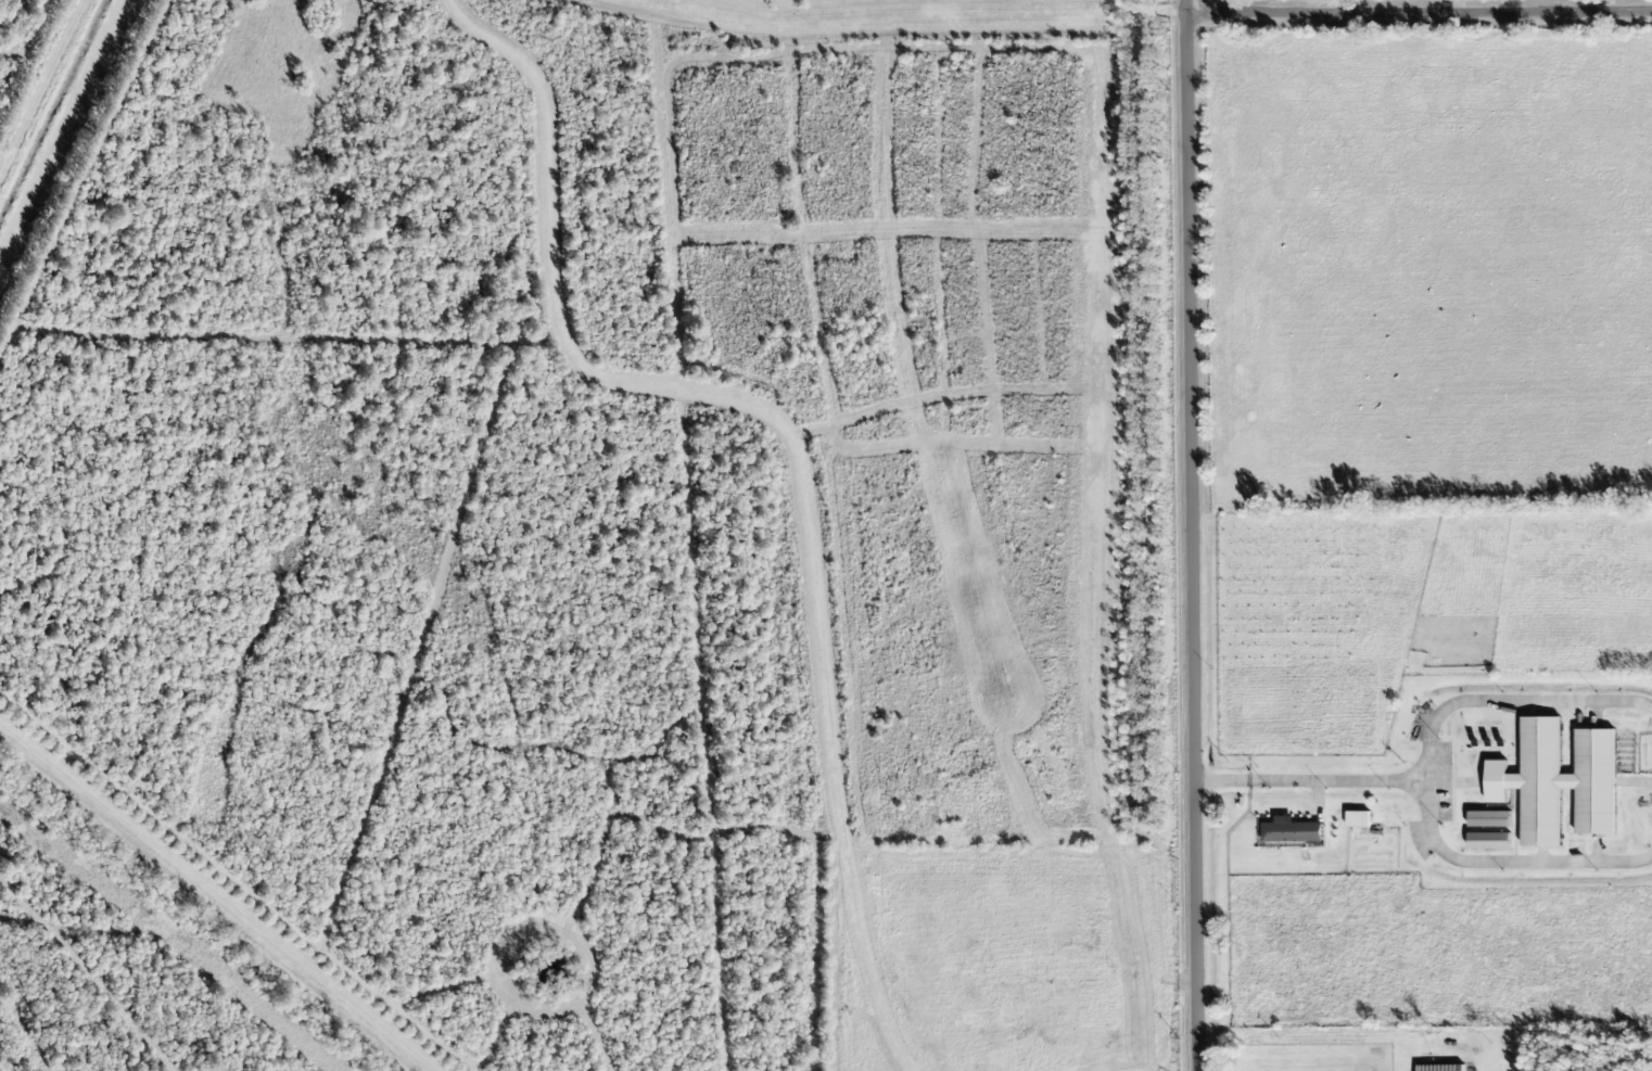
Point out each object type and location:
road: (1419, 10)
road: (1191, 535)
building: (1558, 781)
building: (1358, 819)
building: (1489, 819)
building: (1292, 831)
building: (1488, 841)
building: (1440, 1068)

